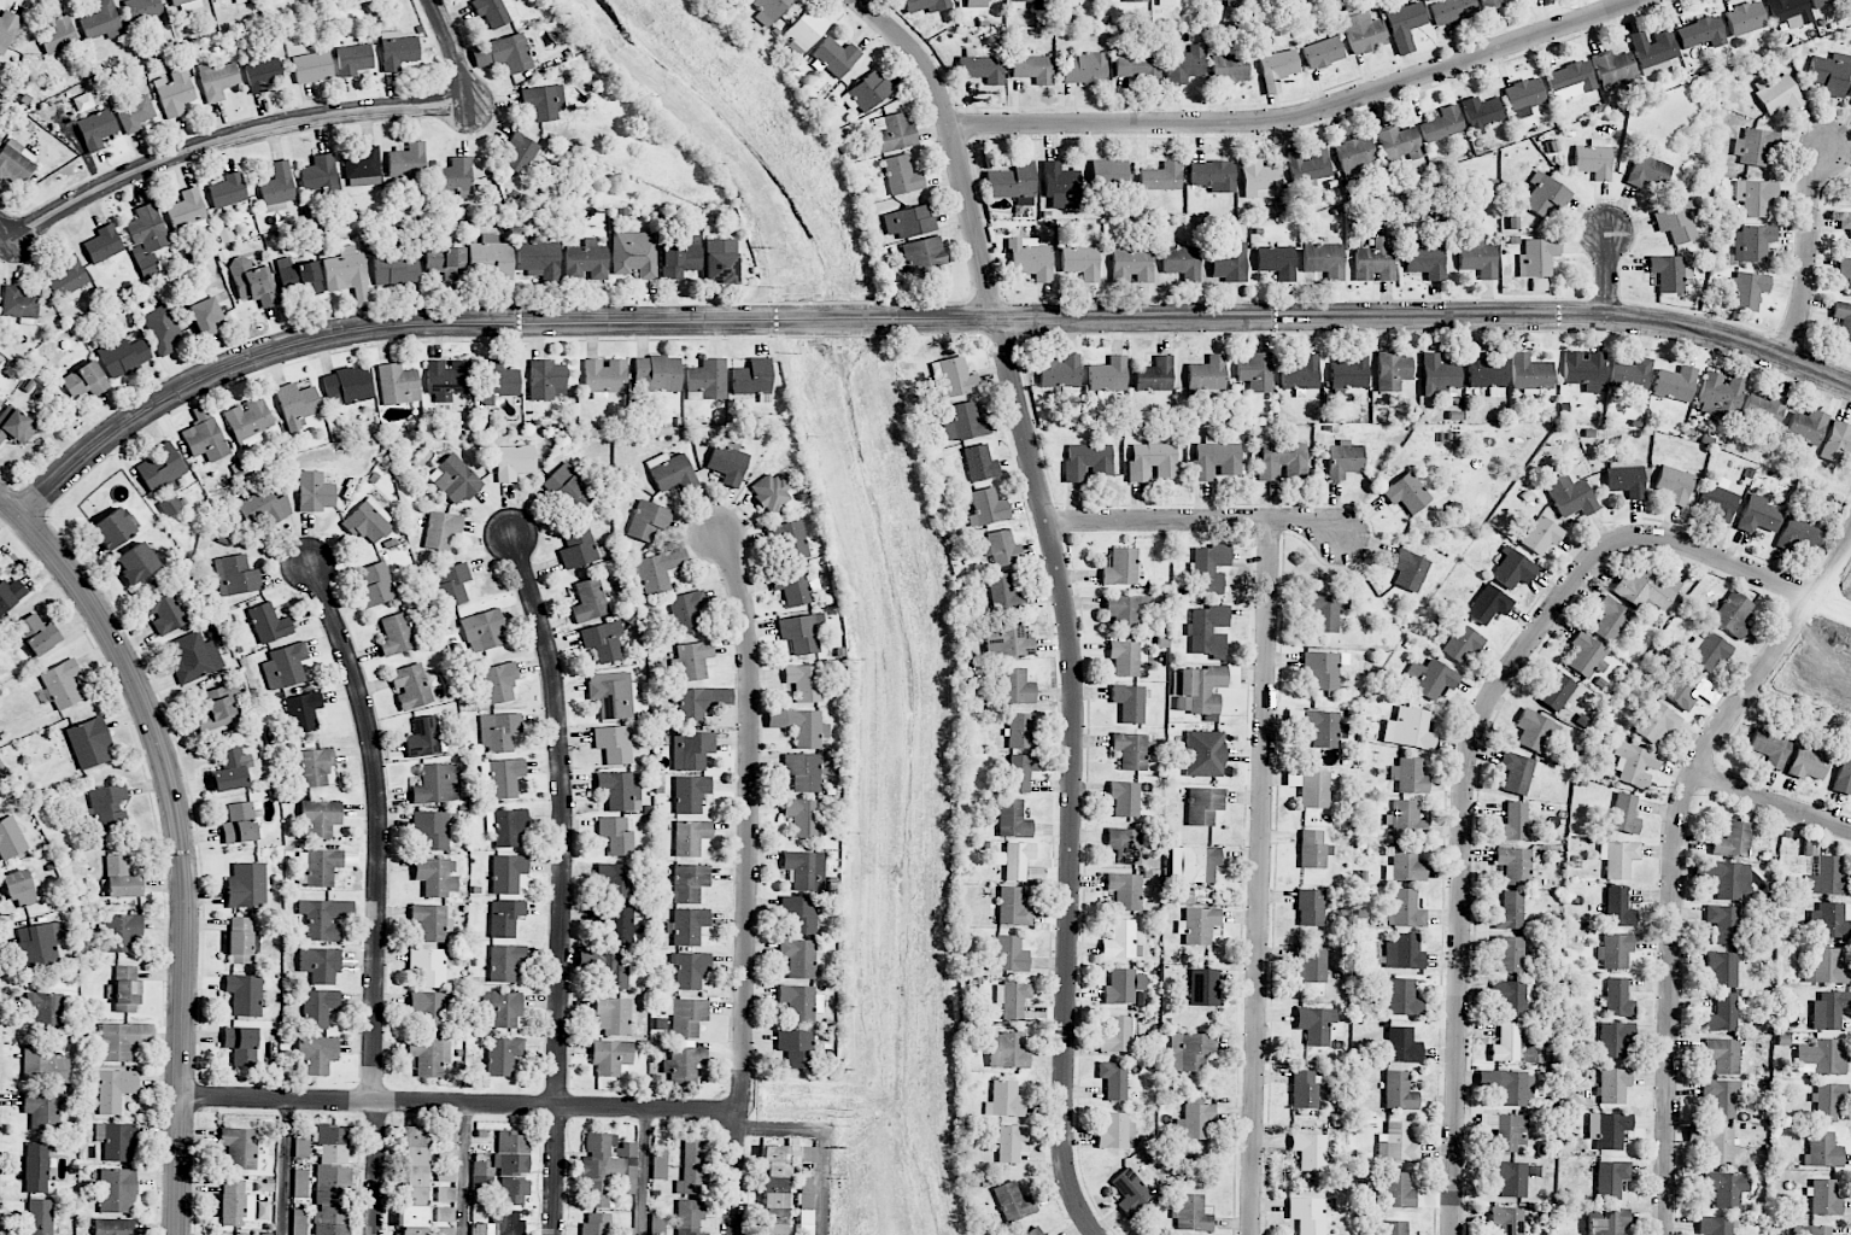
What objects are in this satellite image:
building: (1135, 0)
building: (180, 1)
building: (241, 1)
building: (1029, 1)
building: (1065, 1)
building: (974, 2)
building: (1165, 2)
building: (1219, 2)
building: (1826, 2)
building: (1490, 4)
building: (925, 5)
building: (768, 8)
building: (143, 10)
building: (1452, 11)
building: (494, 12)
building: (1788, 13)
building: (1745, 18)
building: (101, 23)
building: (1404, 24)
building: (804, 29)
building: (7, 30)
building: (1363, 33)
building: (1700, 33)
building: (58, 35)
building: (1653, 48)
building: (397, 51)
road: (455, 51)
building: (503, 53)
building: (1323, 53)
building: (836, 57)
building: (353, 59)
building: (1184, 64)
building: (311, 66)
building: (980, 66)
building: (1084, 68)
building: (1138, 68)
building: (1229, 68)
building: (1032, 69)
building: (1277, 69)
building: (1613, 70)
building: (1829, 74)
building: (262, 75)
building: (217, 80)
building: (1570, 81)
building: (867, 92)
building: (175, 93)
building: (1777, 94)
building: (1523, 98)
building: (543, 101)
building: (1850, 101)
building: (134, 112)
building: (1482, 113)
road: (1304, 117)
building: (1442, 124)
building: (96, 129)
building: (894, 133)
building: (0, 137)
road: (234, 137)
building: (1400, 144)
road: (954, 146)
building: (1755, 147)
building: (519, 153)
building: (1355, 154)
building: (1593, 159)
building: (406, 160)
building: (13, 163)
building: (362, 166)
building: (1313, 168)
building: (1108, 172)
building: (1647, 172)
building: (318, 174)
building: (901, 175)
building: (1212, 176)
building: (455, 177)
building: (1161, 177)
building: (1260, 178)
building: (1059, 180)
building: (1012, 183)
building: (277, 187)
building: (228, 191)
building: (1545, 195)
building: (1756, 197)
building: (187, 209)
building: (909, 221)
building: (1677, 222)
building: (1845, 224)
building: (147, 229)
road: (7, 230)
building: (1752, 242)
building: (102, 244)
building: (1568, 246)
road: (1810, 252)
building: (634, 253)
building: (924, 254)
building: (1423, 257)
building: (1537, 257)
building: (445, 258)
building: (492, 258)
building: (539, 258)
building: (680, 258)
building: (1478, 258)
building: (1032, 259)
building: (1323, 259)
building: (586, 261)
building: (720, 261)
building: (1276, 261)
building: (1080, 262)
building: (1182, 262)
building: (1228, 262)
building: (1375, 262)
building: (146, 265)
building: (1131, 265)
building: (394, 269)
building: (345, 270)
building: (1845, 271)
building: (1668, 273)
road: (1609, 274)
building: (68, 276)
building: (298, 276)
building: (253, 282)
building: (1745, 291)
street lamp: (1624, 298)
building: (19, 304)
building: (205, 316)
road: (1429, 316)
building: (1843, 318)
road: (480, 322)
building: (160, 327)
street lamp: (1774, 332)
street lamp: (1020, 341)
building: (123, 357)
street lamp: (309, 357)
building: (1585, 369)
building: (1392, 370)
building: (1060, 371)
building: (1255, 371)
building: (1487, 373)
building: (656, 374)
building: (1206, 374)
building: (1301, 374)
building: (1348, 374)
building: (1530, 374)
building: (604, 375)
building: (1108, 375)
building: (1154, 375)
building: (1437, 375)
building: (954, 376)
building: (1632, 376)
building: (751, 377)
building: (447, 379)
building: (546, 380)
building: (707, 380)
building: (84, 381)
building: (497, 381)
building: (398, 384)
building: (1675, 384)
building: (346, 386)
building: (1722, 393)
building: (0, 404)
building: (297, 405)
building: (1763, 409)
building: (248, 421)
building: (963, 422)
building: (14, 426)
building: (1805, 426)
building: (204, 435)
building: (1835, 443)
building: (1216, 458)
building: (1343, 460)
building: (727, 461)
building: (1086, 461)
building: (1153, 461)
building: (1284, 461)
building: (514, 462)
building: (980, 463)
building: (162, 469)
building: (670, 473)
building: (1626, 478)
building: (453, 480)
building: (1674, 485)
building: (568, 488)
building: (315, 492)
building: (769, 492)
building: (1406, 492)
building: (1570, 494)
building: (1717, 499)
road: (10, 505)
building: (169, 505)
building: (263, 508)
building: (986, 508)
building: (1758, 515)
street lamp: (49, 517)
building: (367, 521)
building: (648, 521)
road: (1200, 521)
building: (112, 528)
building: (441, 529)
building: (1800, 533)
building: (1541, 535)
building: (787, 542)
building: (1000, 548)
street lamp: (1358, 562)
building: (136, 563)
building: (1120, 567)
building: (1209, 568)
building: (1512, 569)
building: (656, 570)
building: (1408, 570)
building: (235, 575)
building: (377, 585)
building: (451, 585)
building: (792, 586)
building: (1646, 589)
building: (1004, 593)
building: (11, 595)
building: (588, 599)
road: (1835, 602)
building: (1488, 604)
building: (164, 610)
building: (1325, 610)
building: (686, 611)
building: (1123, 611)
building: (1732, 614)
building: (1610, 619)
building: (268, 624)
building: (484, 630)
building: (1207, 630)
building: (801, 633)
building: (37, 634)
building: (396, 634)
building: (1006, 639)
building: (603, 640)
building: (1462, 644)
building: (1708, 651)
building: (1586, 656)
building: (194, 657)
building: (1125, 659)
building: (692, 660)
building: (285, 666)
building: (1324, 669)
building: (1431, 678)
building: (499, 681)
building: (803, 681)
building: (61, 684)
building: (410, 686)
building: (1015, 686)
building: (1202, 687)
building: (1682, 689)
building: (1554, 690)
building: (611, 695)
building: (698, 703)
building: (1129, 703)
building: (217, 709)
building: (304, 712)
building: (1657, 724)
building: (806, 728)
building: (1324, 728)
building: (1408, 728)
building: (1021, 730)
building: (1534, 731)
building: (499, 732)
building: (423, 738)
building: (616, 742)
building: (88, 743)
building: (1770, 747)
building: (691, 749)
building: (1132, 750)
building: (1203, 754)
road: (1468, 754)
building: (1808, 762)
building: (1635, 765)
building: (316, 767)
building: (230, 769)
building: (802, 772)
building: (1020, 772)
building: (1518, 772)
building: (1410, 775)
building: (503, 777)
road: (1071, 777)
building: (1843, 778)
building: (435, 784)
building: (1313, 788)
building: (620, 790)
building: (690, 794)
building: (1125, 798)
road: (1771, 802)
building: (109, 806)
building: (1203, 806)
building: (1624, 814)
building: (802, 816)
building: (320, 818)
building: (1013, 819)
building: (1406, 819)
building: (1513, 823)
building: (239, 824)
building: (506, 827)
building: (432, 830)
building: (616, 836)
building: (691, 837)
building: (10, 838)
building: (1733, 841)
building: (1125, 844)
building: (1312, 849)
road: (181, 853)
building: (1618, 859)
building: (1014, 860)
road: (1676, 864)
building: (1193, 865)
building: (1405, 865)
building: (1516, 866)
building: (322, 867)
building: (801, 870)
building: (508, 873)
road: (749, 876)
building: (1826, 876)
building: (435, 877)
building: (121, 878)
road: (1260, 878)
building: (1727, 878)
building: (615, 880)
building: (689, 882)
road: (566, 883)
building: (246, 885)
building: (23, 888)
building: (1125, 890)
road: (377, 894)
building: (1013, 907)
building: (1310, 908)
building: (1618, 908)
building: (1405, 909)
building: (1510, 912)
building: (798, 915)
building: (504, 917)
building: (324, 918)
building: (1831, 920)
building: (430, 921)
building: (1724, 923)
building: (1197, 925)
building: (616, 926)
building: (689, 926)
building: (121, 932)
building: (239, 941)
building: (1121, 941)
building: (40, 944)
building: (1615, 950)
building: (1402, 953)
building: (1509, 953)
building: (1011, 954)
building: (801, 959)
building: (503, 962)
building: (320, 965)
building: (1311, 965)
building: (428, 966)
building: (605, 967)
building: (1826, 967)
building: (1723, 968)
building: (691, 970)
building: (1125, 988)
building: (1203, 988)
building: (125, 989)
building: (244, 994)
building: (1510, 997)
building: (1012, 999)
building: (1401, 999)
building: (1617, 999)
building: (799, 1003)
building: (318, 1007)
building: (500, 1008)
building: (427, 1009)
building: (1829, 1009)
building: (45, 1011)
building: (1723, 1013)
building: (613, 1015)
building: (686, 1015)
building: (1314, 1024)
building: (1117, 1035)
building: (124, 1040)
building: (1615, 1040)
building: (1506, 1043)
building: (244, 1046)
building: (1402, 1046)
building: (795, 1047)
building: (1007, 1050)
building: (1190, 1052)
building: (317, 1054)
building: (503, 1055)
building: (1723, 1055)
building: (429, 1057)
building: (1821, 1057)
building: (611, 1058)
building: (684, 1063)
building: (43, 1065)
building: (1113, 1079)
building: (1613, 1085)
building: (1515, 1088)
building: (112, 1089)
building: (1304, 1089)
building: (1399, 1091)
building: (1720, 1098)
building: (1004, 1100)
building: (1828, 1101)
road: (462, 1104)
building: (42, 1108)
building: (1196, 1118)
building: (1607, 1129)
building: (1114, 1130)
building: (1509, 1131)
building: (447, 1135)
building: (116, 1140)
building: (511, 1142)
building: (1009, 1142)
building: (1715, 1142)
building: (301, 1143)
building: (333, 1143)
road: (825, 1143)
building: (1398, 1143)
building: (240, 1148)
building: (1310, 1151)
building: (1822, 1151)
building: (441, 1154)
building: (511, 1163)
building: (605, 1164)
building: (414, 1165)
building: (660, 1165)
building: (35, 1166)
road: (283, 1167)
building: (692, 1167)
road: (465, 1170)
road: (644, 1171)
building: (446, 1175)
building: (482, 1175)
building: (1511, 1178)
building: (1611, 1178)
building: (778, 1182)
building: (300, 1187)
building: (1726, 1188)
building: (116, 1190)
building: (1399, 1190)
building: (512, 1192)
building: (1130, 1192)
building: (332, 1194)
building: (445, 1194)
building: (1824, 1198)
building: (1013, 1201)
building: (235, 1204)
building: (1191, 1213)
building: (445, 1214)
building: (1307, 1214)
building: (39, 1217)
building: (689, 1217)
building: (1507, 1219)
building: (412, 1221)
building: (1607, 1221)
building: (299, 1222)
building: (806, 1222)
building: (596, 1223)
building: (500, 1224)
building: (1715, 1225)
building: (113, 1227)
building: (1394, 1228)
building: (330, 1229)
building: (1814, 1230)
building: (446, 1231)
building: (625, 1231)
building: (1033, 1231)

